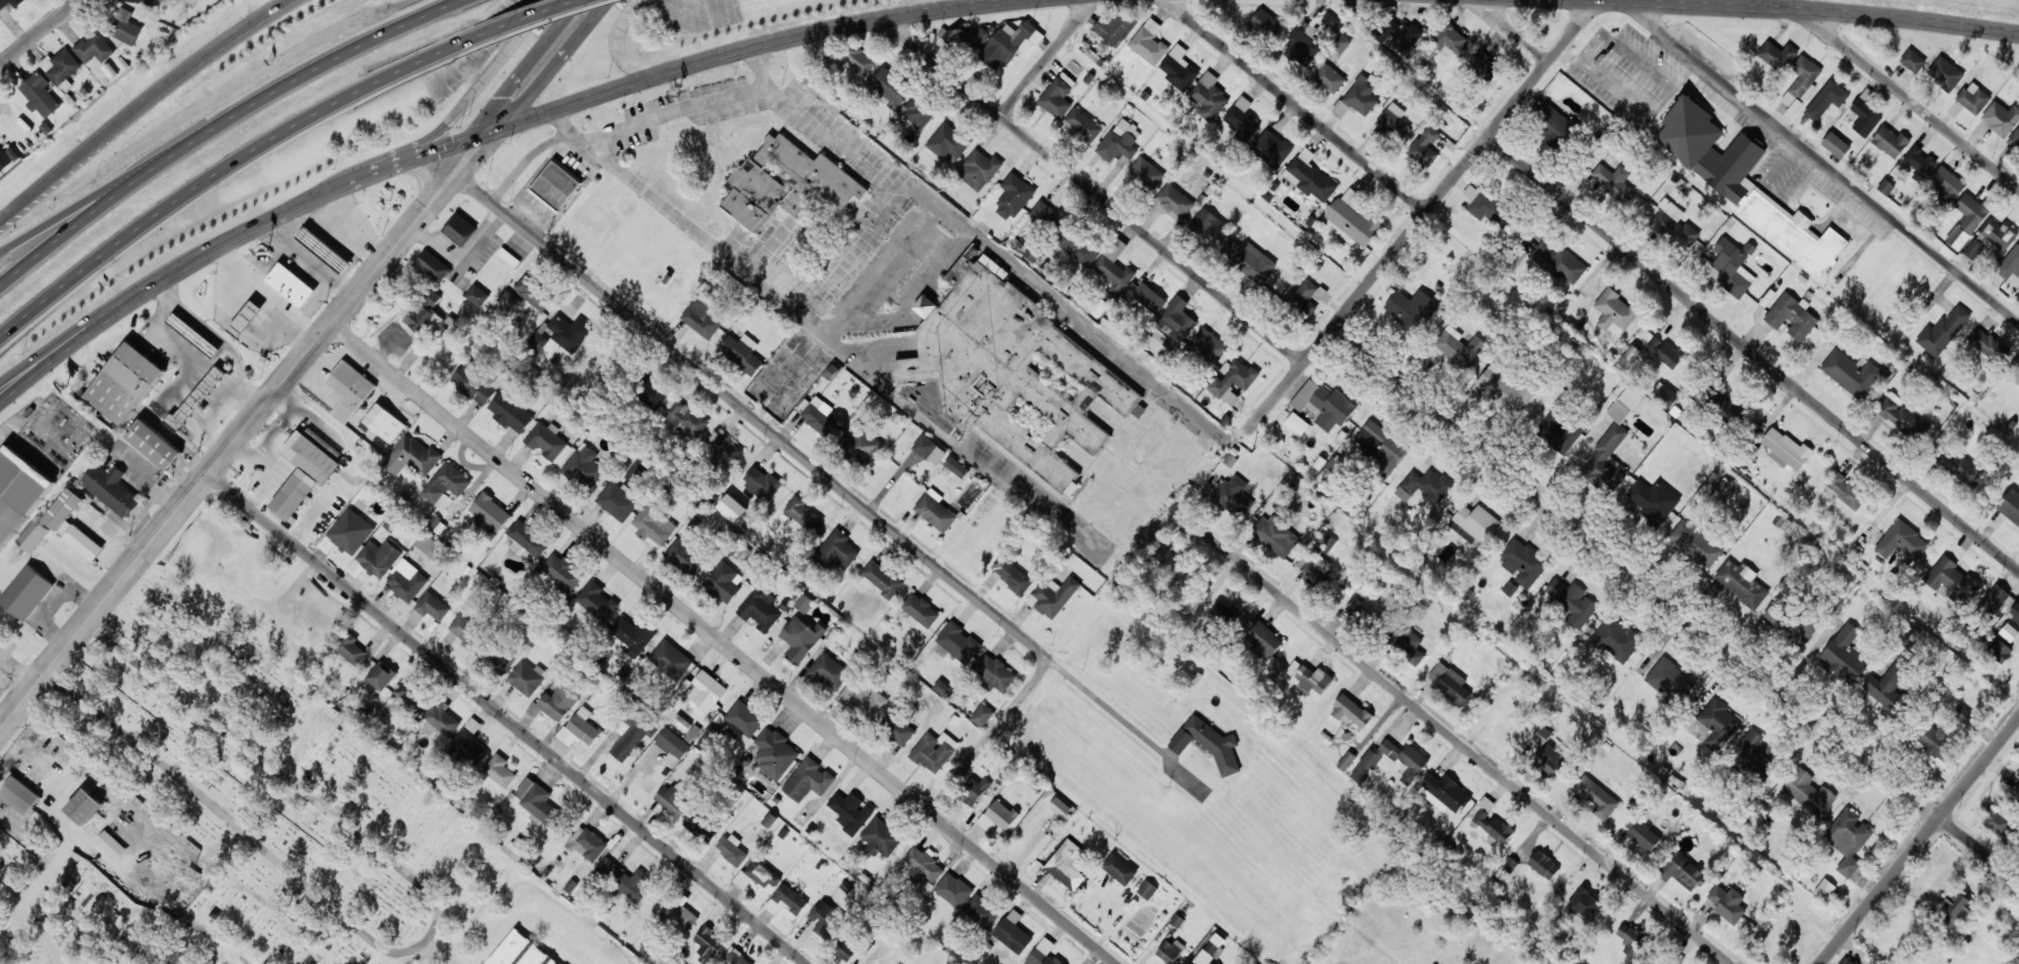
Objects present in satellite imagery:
building: (148, 1)
road: (449, 2)
building: (10, 3)
road: (1814, 9)
road: (527, 21)
building: (1266, 22)
building: (1331, 23)
building: (124, 26)
building: (1115, 27)
road: (1515, 30)
road: (38, 33)
road: (620, 38)
building: (1450, 40)
building: (1011, 42)
building: (1149, 42)
building: (1340, 43)
building: (92, 48)
building: (1777, 55)
road: (1046, 59)
building: (856, 60)
building: (1912, 60)
building: (1484, 65)
building: (60, 66)
building: (1178, 72)
building: (1944, 73)
building: (1327, 75)
building: (1802, 80)
building: (891, 87)
building: (41, 96)
road: (466, 96)
building: (1209, 96)
building: (1358, 96)
building: (1056, 97)
road: (1909, 98)
building: (1826, 99)
building: (1973, 99)
road: (1296, 105)
road: (145, 108)
building: (1865, 116)
building: (2001, 118)
building: (1242, 119)
building: (1393, 121)
building: (1083, 124)
building: (1553, 124)
road: (209, 128)
road: (490, 129)
building: (2015, 137)
building: (1890, 141)
building: (947, 142)
building: (1836, 145)
building: (1119, 146)
building: (1424, 146)
building: (1271, 148)
building: (1709, 148)
building: (4, 159)
road: (1821, 161)
building: (1919, 162)
building: (979, 169)
building: (1146, 172)
road: (219, 173)
building: (1309, 176)
building: (1614, 181)
road: (1449, 182)
building: (787, 183)
building: (1946, 183)
building: (556, 185)
building: (1885, 186)
road: (1092, 190)
building: (1014, 196)
building: (1175, 200)
building: (1482, 203)
road: (84, 206)
building: (1972, 211)
building: (1048, 216)
building: (1354, 217)
building: (1674, 223)
building: (1208, 224)
building: (460, 229)
building: (1791, 231)
building: (1957, 237)
building: (1991, 238)
building: (321, 247)
building: (1079, 247)
building: (1249, 260)
building: (1561, 263)
building: (2010, 263)
building: (433, 266)
building: (1114, 266)
building: (1733, 266)
building: (287, 281)
building: (533, 292)
building: (477, 295)
building: (1147, 297)
building: (1304, 297)
building: (2017, 297)
building: (509, 299)
building: (1410, 308)
building: (1615, 310)
building: (425, 315)
building: (242, 317)
building: (701, 318)
building: (1176, 319)
building: (192, 330)
building: (569, 331)
building: (1943, 331)
building: (538, 341)
building: (1989, 345)
building: (1208, 346)
building: (1459, 346)
building: (742, 352)
road: (1753, 352)
building: (1664, 353)
road: (297, 367)
building: (2013, 371)
building: (1012, 373)
building: (1851, 373)
building: (120, 379)
building: (1233, 381)
building: (474, 383)
building: (1509, 387)
road: (8, 389)
building: (349, 389)
building: (650, 392)
road: (1278, 394)
building: (1664, 394)
building: (198, 398)
building: (1324, 404)
building: (1725, 406)
building: (510, 412)
building: (817, 414)
building: (1898, 414)
road: (753, 415)
building: (685, 419)
building: (383, 420)
building: (1297, 423)
building: (1561, 426)
building: (546, 440)
building: (152, 441)
building: (862, 442)
building: (1382, 447)
building: (1785, 448)
building: (725, 449)
building: (929, 449)
building: (1608, 452)
building: (416, 454)
building: (315, 459)
building: (1333, 464)
building: (1957, 465)
building: (583, 466)
building: (956, 466)
building: (637, 471)
building: (762, 482)
building: (446, 485)
building: (1424, 486)
building: (111, 489)
building: (1843, 490)
building: (18, 491)
building: (291, 494)
building: (1233, 496)
building: (1653, 499)
building: (618, 500)
building: (1280, 503)
building: (2010, 505)
building: (732, 507)
building: (937, 510)
building: (490, 511)
building: (804, 514)
building: (72, 524)
building: (352, 524)
building: (654, 524)
building: (1474, 524)
building: (32, 534)
building: (1275, 535)
building: (527, 540)
building: (1902, 541)
building: (427, 544)
building: (1328, 544)
building: (1695, 544)
building: (837, 550)
building: (685, 556)
building: (378, 557)
building: (1522, 560)
building: (1316, 567)
building: (562, 571)
building: (1011, 574)
building: (882, 578)
building: (1950, 578)
building: (724, 581)
building: (1741, 582)
building: (407, 584)
building: (27, 592)
building: (1053, 596)
building: (597, 600)
building: (1997, 600)
building: (1572, 601)
building: (804, 603)
building: (1358, 604)
road: (1676, 605)
building: (433, 607)
building: (759, 608)
building: (919, 610)
building: (1776, 611)
building: (1224, 612)
building: (2015, 612)
building: (1803, 629)
building: (466, 630)
building: (2008, 632)
building: (632, 634)
building: (1908, 637)
building: (801, 638)
building: (1264, 638)
building: (1616, 639)
building: (958, 642)
road: (724, 643)
building: (1407, 643)
building: (351, 648)
building: (1997, 649)
building: (1843, 655)
building: (502, 659)
building: (671, 659)
road: (19, 671)
building: (830, 671)
building: (995, 672)
building: (379, 674)
building: (527, 677)
building: (1313, 678)
building: (1670, 680)
building: (1449, 682)
building: (1889, 682)
building: (706, 690)
building: (864, 696)
building: (414, 697)
building: (555, 703)
road: (1113, 711)
building: (1351, 711)
building: (982, 714)
building: (1963, 715)
building: (744, 718)
building: (441, 719)
road: (508, 720)
building: (1716, 724)
building: (579, 728)
building: (897, 728)
building: (631, 733)
road: (988, 736)
building: (707, 738)
building: (470, 740)
building: (1936, 740)
road: (1460, 742)
building: (1214, 744)
building: (1755, 748)
building: (934, 751)
building: (775, 753)
building: (1406, 759)
building: (1549, 759)
building: (1346, 760)
building: (1365, 766)
building: (499, 770)
building: (2017, 773)
building: (808, 779)
building: (2016, 787)
building: (975, 789)
park: (308, 792)
building: (1808, 792)
building: (1444, 793)
building: (20, 795)
building: (1596, 797)
building: (672, 800)
building: (539, 802)
building: (85, 806)
building: (1059, 807)
building: (851, 811)
building: (1001, 814)
building: (1998, 820)
building: (1492, 822)
building: (1643, 833)
building: (881, 837)
building: (1848, 838)
road: (1919, 841)
building: (587, 843)
building: (111, 845)
building: (732, 849)
building: (614, 860)
building: (924, 863)
building: (1066, 864)
building: (1509, 864)
building: (1543, 865)
park: (125, 868)
building: (1119, 869)
building: (1683, 871)
building: (763, 874)
road: (40, 883)
building: (633, 884)
building: (1824, 888)
building: (953, 889)
building: (1147, 889)
building: (786, 900)
building: (1584, 903)
building: (1727, 903)
building: (982, 911)
building: (1953, 912)
building: (679, 915)
building: (825, 920)
building: (1013, 932)
road: (40, 935)
road: (427, 937)
building: (1631, 939)
building: (709, 944)
building: (847, 945)
building: (1210, 950)
building: (1040, 951)
building: (1170, 951)
building: (520, 952)
road: (437, 953)
road: (425, 956)
building: (738, 958)
building: (1051, 960)
building: (674, 961)
building: (1846, 961)
building: (1672, 963)

